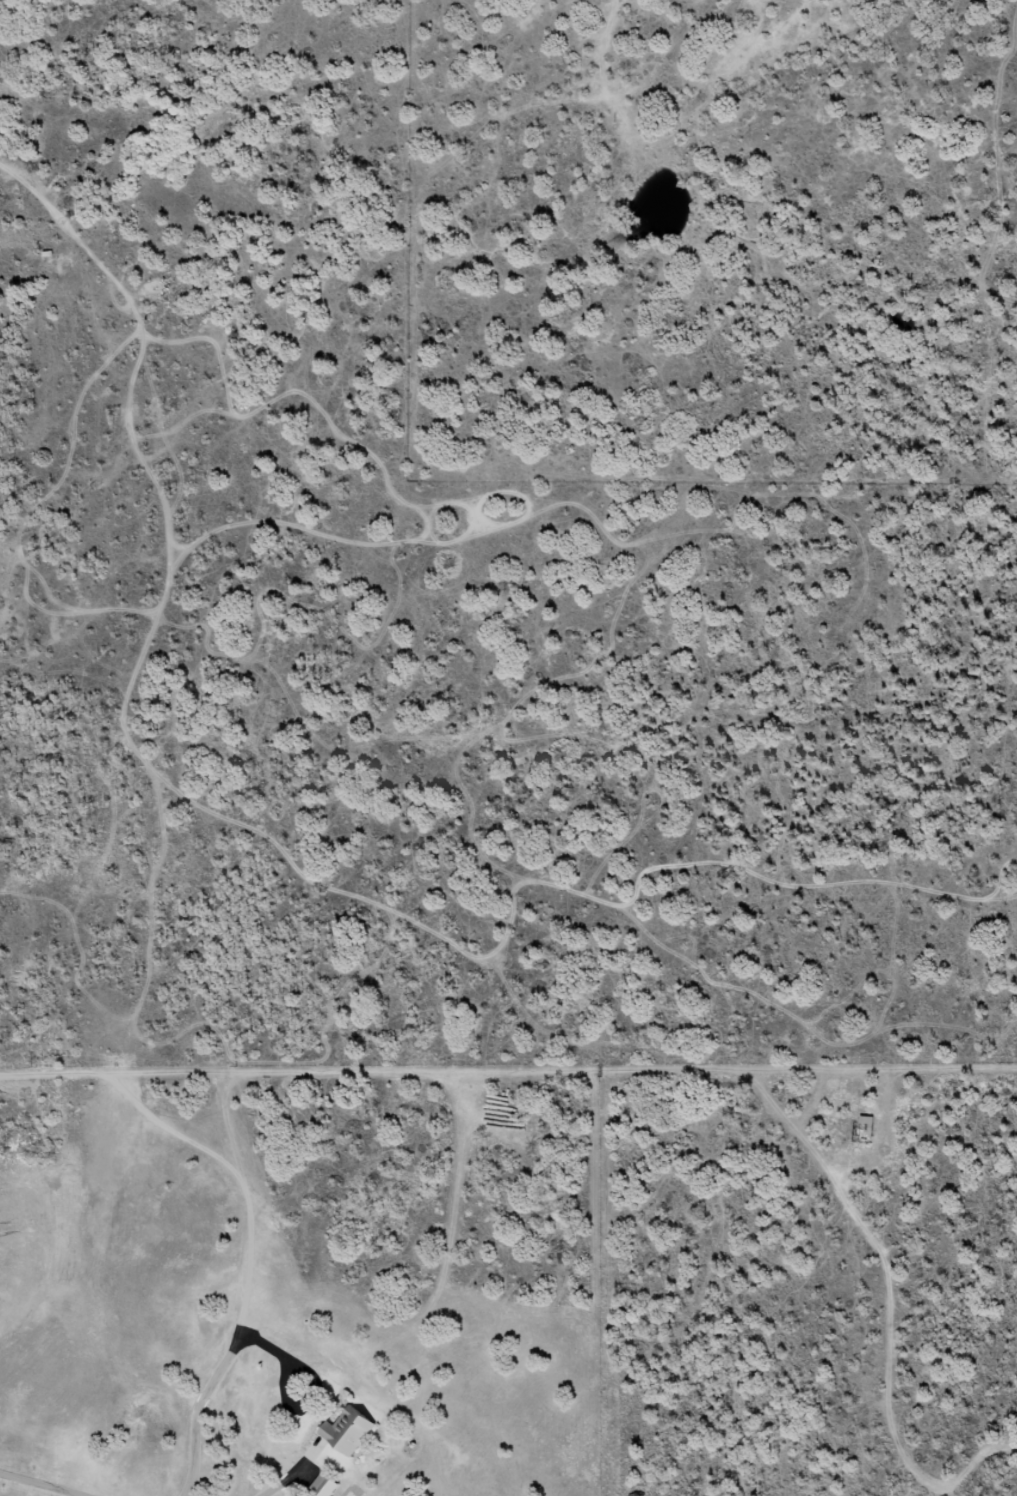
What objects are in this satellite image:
road: (445, 942)
building: (862, 1121)
building: (352, 1429)

